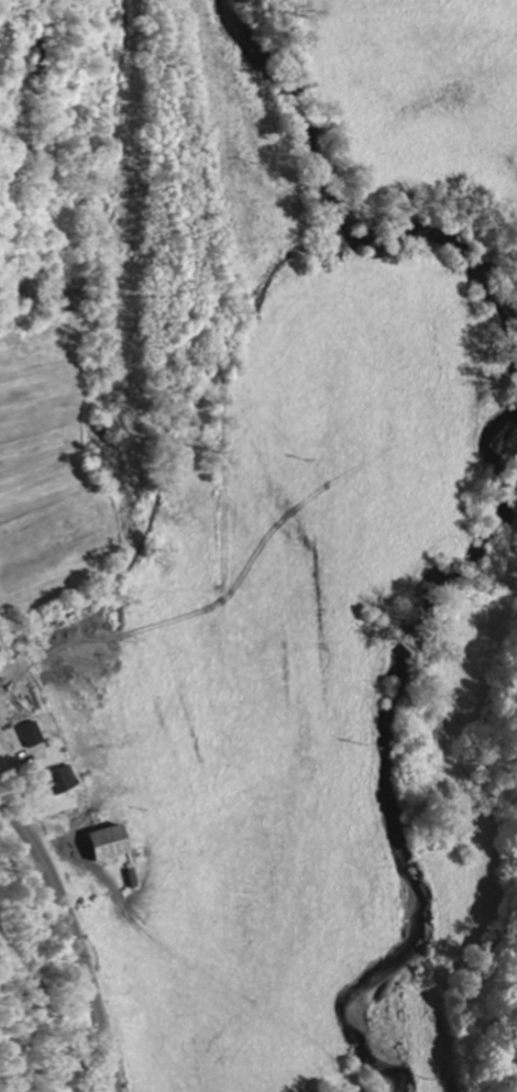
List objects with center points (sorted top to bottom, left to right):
river: (341, 211)
building: (37, 736)
river: (394, 758)
road: (78, 938)

